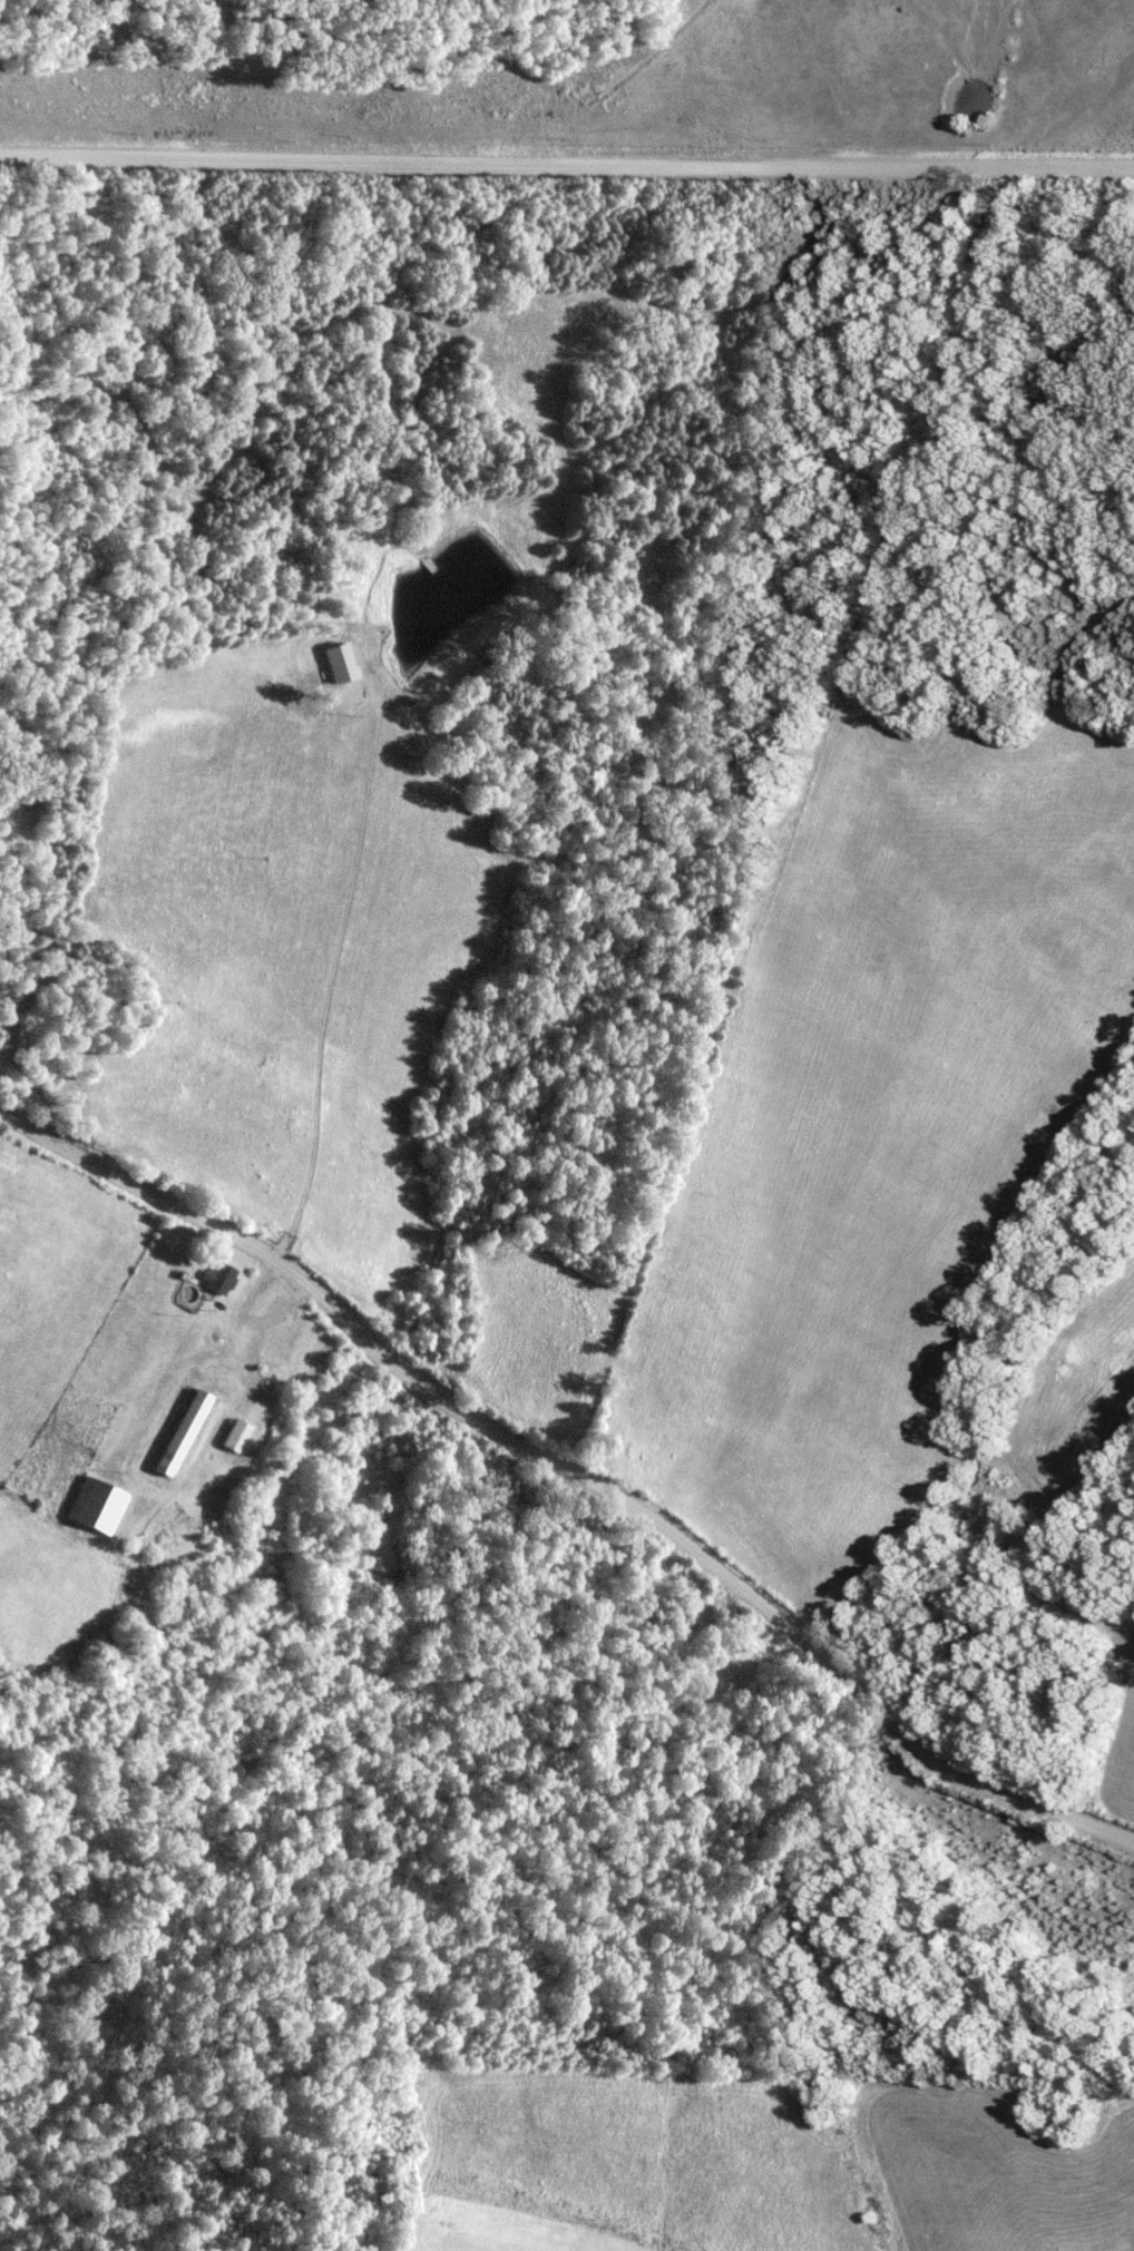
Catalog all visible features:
road: (566, 167)
building: (348, 665)
building: (223, 1278)
road: (205, 1364)
building: (188, 1432)
building: (238, 1436)
road: (571, 1474)
building: (101, 1505)

